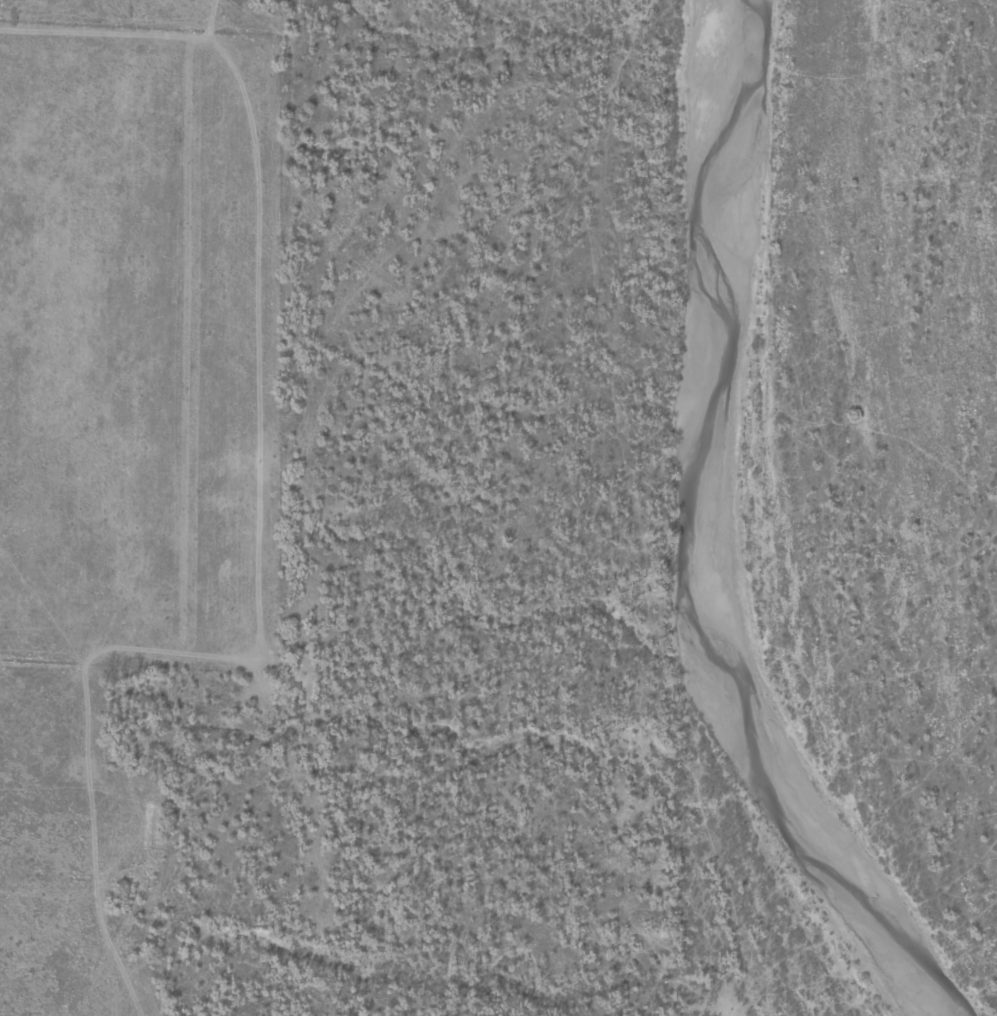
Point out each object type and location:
river: (717, 535)

